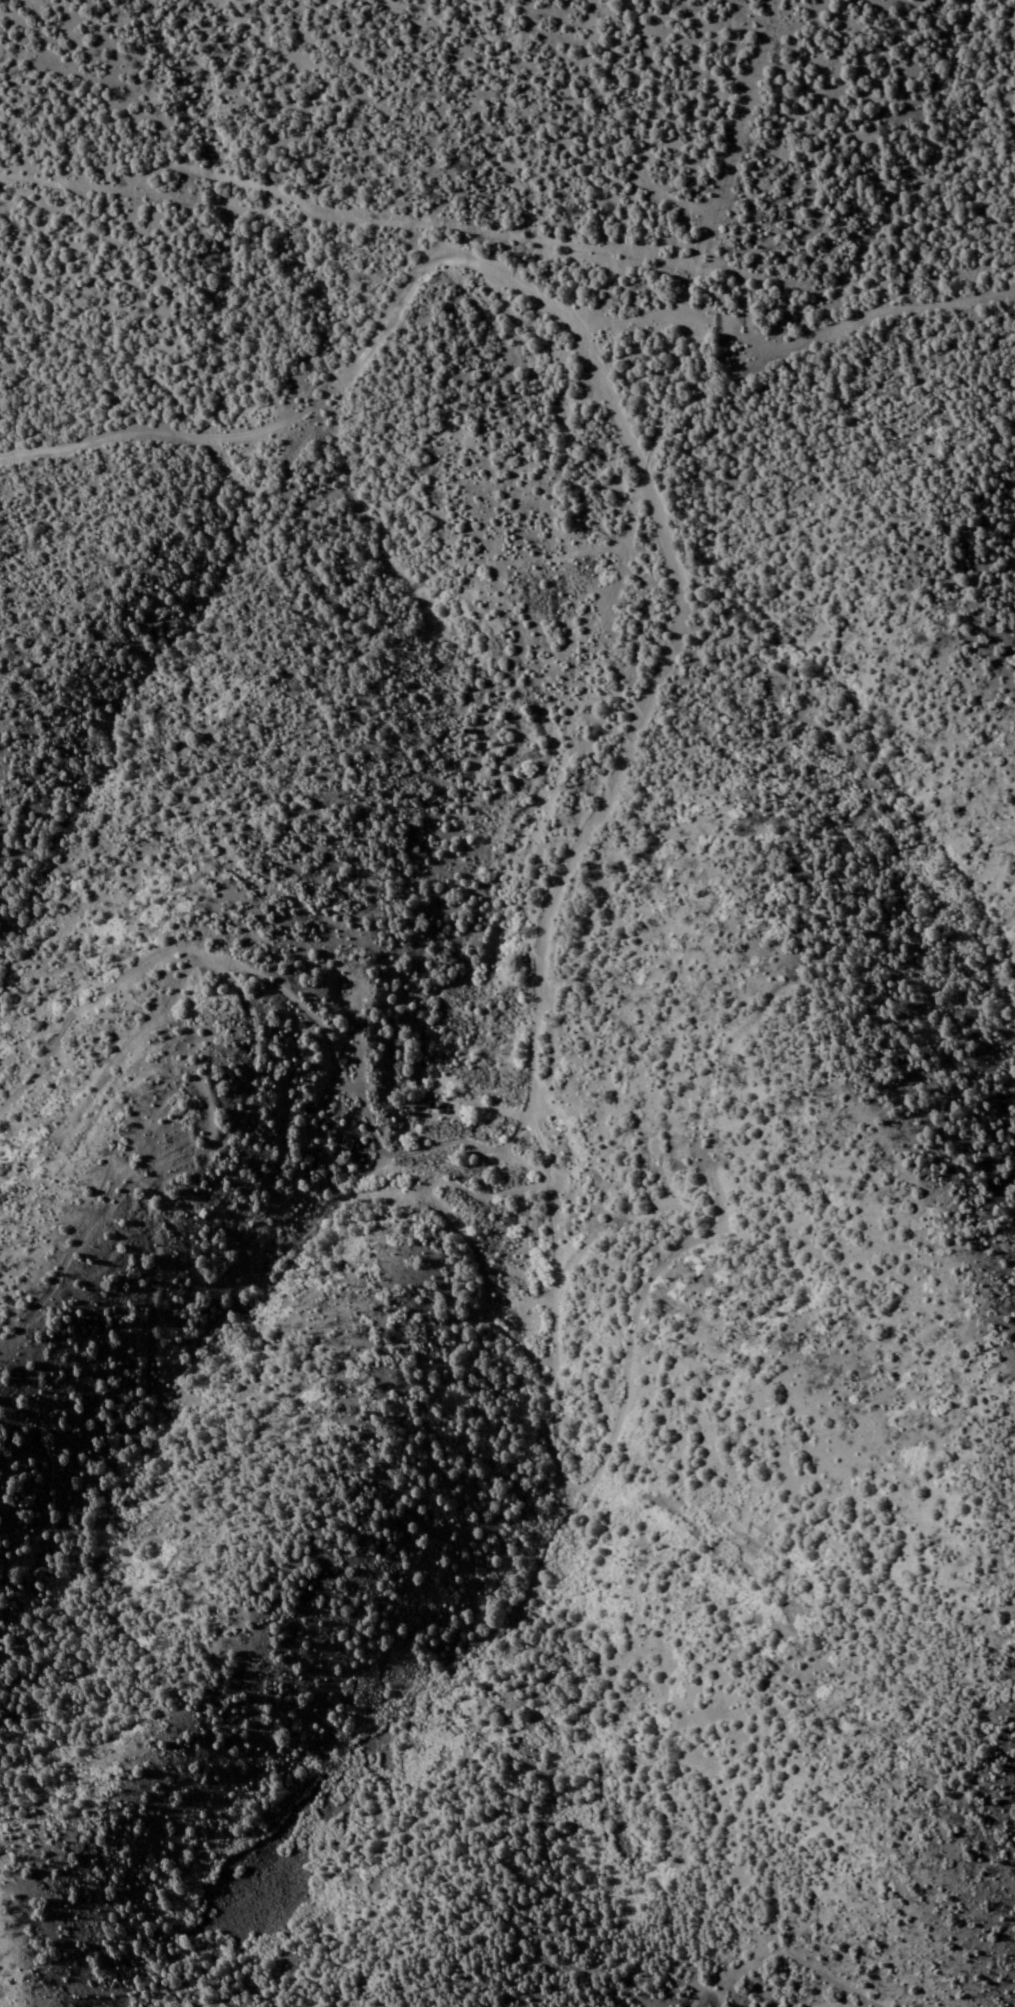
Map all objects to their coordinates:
road: (743, 170)
road: (455, 280)

